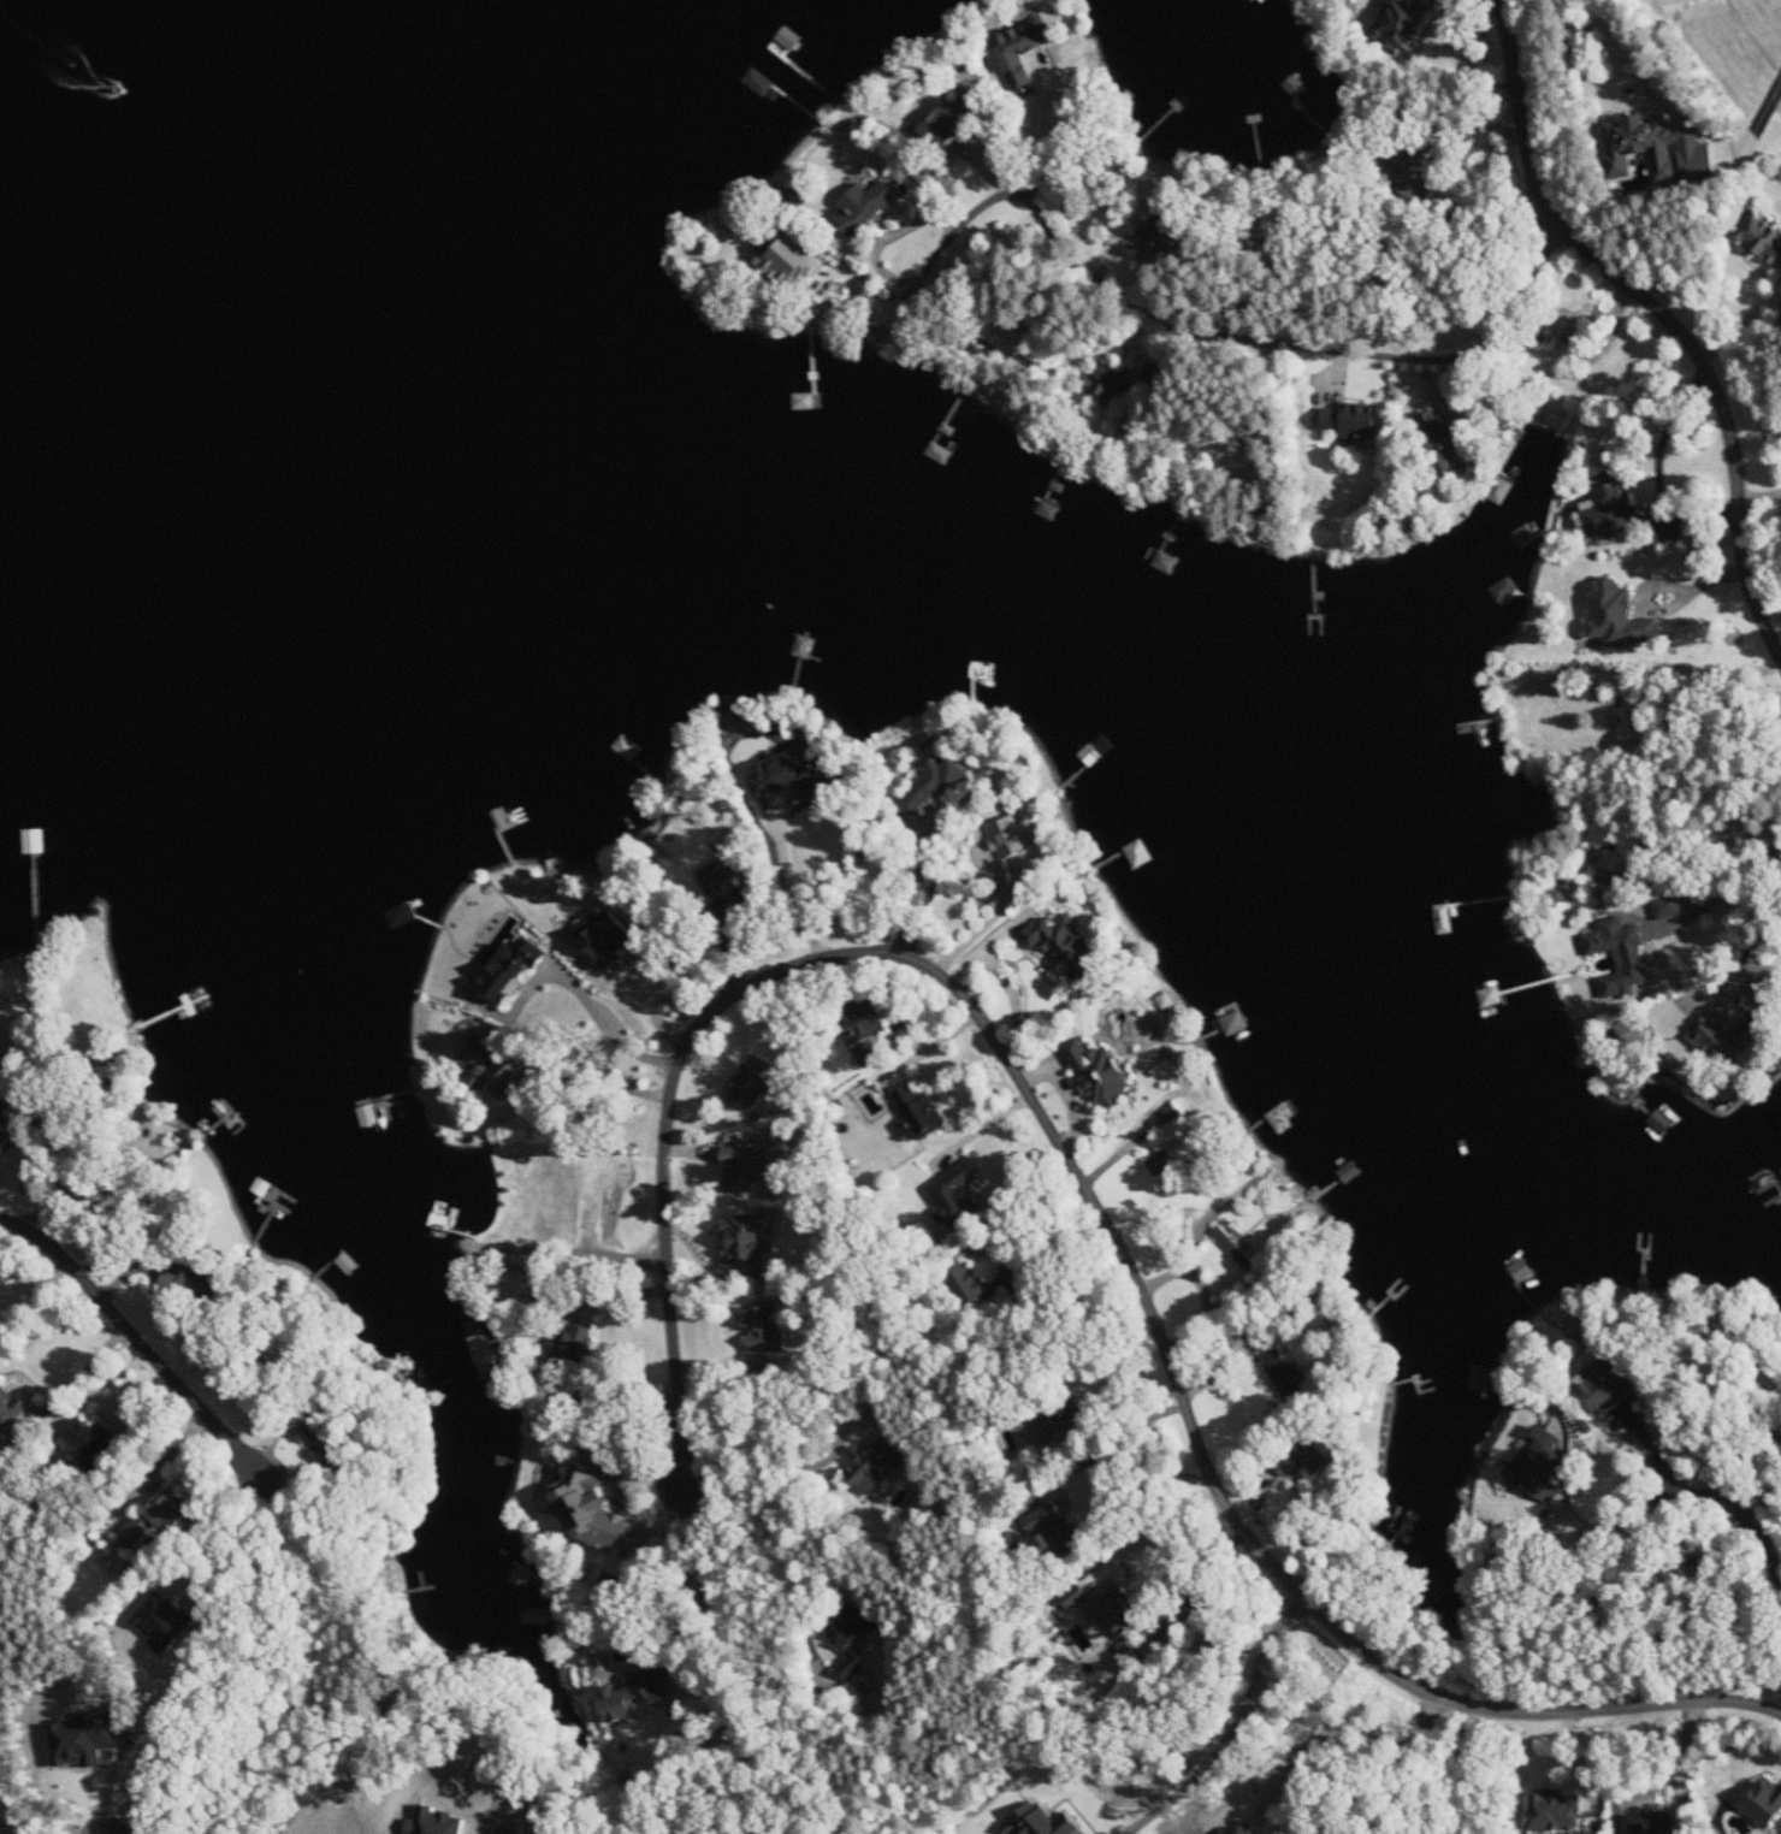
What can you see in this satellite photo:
building: (1408, 20)
road: (1753, 36)
road: (1576, 48)
building: (1020, 49)
airport taxiway: (1768, 108)
building: (943, 123)
road: (1040, 137)
building: (1658, 148)
airport taxiway: (1740, 153)
building: (1410, 176)
building: (865, 205)
road: (892, 235)
road: (949, 236)
building: (1166, 237)
building: (1763, 237)
building: (792, 261)
road: (1665, 315)
road: (1742, 325)
building: (1006, 336)
road: (1301, 345)
building: (1110, 384)
building: (1353, 421)
road: (1658, 472)
building: (1497, 487)
road: (1758, 496)
building: (1609, 505)
building: (1620, 615)
road: (1774, 621)
building: (1633, 711)
building: (789, 776)
building: (933, 787)
building: (1013, 836)
building: (1616, 859)
building: (716, 880)
road: (792, 882)
road: (918, 888)
road: (1762, 891)
road: (1709, 900)
building: (1669, 907)
road: (995, 911)
building: (605, 936)
building: (1065, 947)
building: (1620, 954)
building: (509, 974)
road: (578, 987)
road: (681, 996)
road: (637, 999)
building: (864, 1030)
building: (1631, 1031)
building: (1724, 1039)
building: (871, 1054)
building: (0, 1059)
building: (1101, 1072)
road: (600, 1083)
building: (755, 1085)
building: (922, 1110)
road: (28, 1122)
building: (1161, 1161)
building: (746, 1167)
road: (1081, 1188)
building: (955, 1193)
road: (1209, 1213)
building: (745, 1242)
building: (1232, 1244)
road: (1046, 1250)
building: (966, 1283)
building: (191, 1284)
road: (1206, 1292)
building: (765, 1329)
road: (137, 1335)
building: (575, 1344)
building: (1284, 1372)
building: (1607, 1385)
building: (10, 1409)
building: (1061, 1413)
road: (1128, 1413)
building: (94, 1444)
road: (1118, 1451)
building: (1310, 1459)
road: (752, 1463)
building: (877, 1465)
building: (1540, 1466)
road: (162, 1468)
building: (593, 1504)
building: (159, 1520)
road: (1750, 1522)
road: (1620, 1528)
building: (1055, 1531)
road: (1144, 1533)
road: (779, 1542)
road: (705, 1558)
road: (1632, 1603)
building: (1111, 1609)
building: (851, 1637)
building: (641, 1688)
road: (1229, 1735)
road: (1320, 1735)
road: (147, 1750)
building: (1764, 1802)
building: (1557, 1812)
building: (1040, 1822)
road: (402, 1827)
building: (1250, 1828)
building: (1226, 1832)

